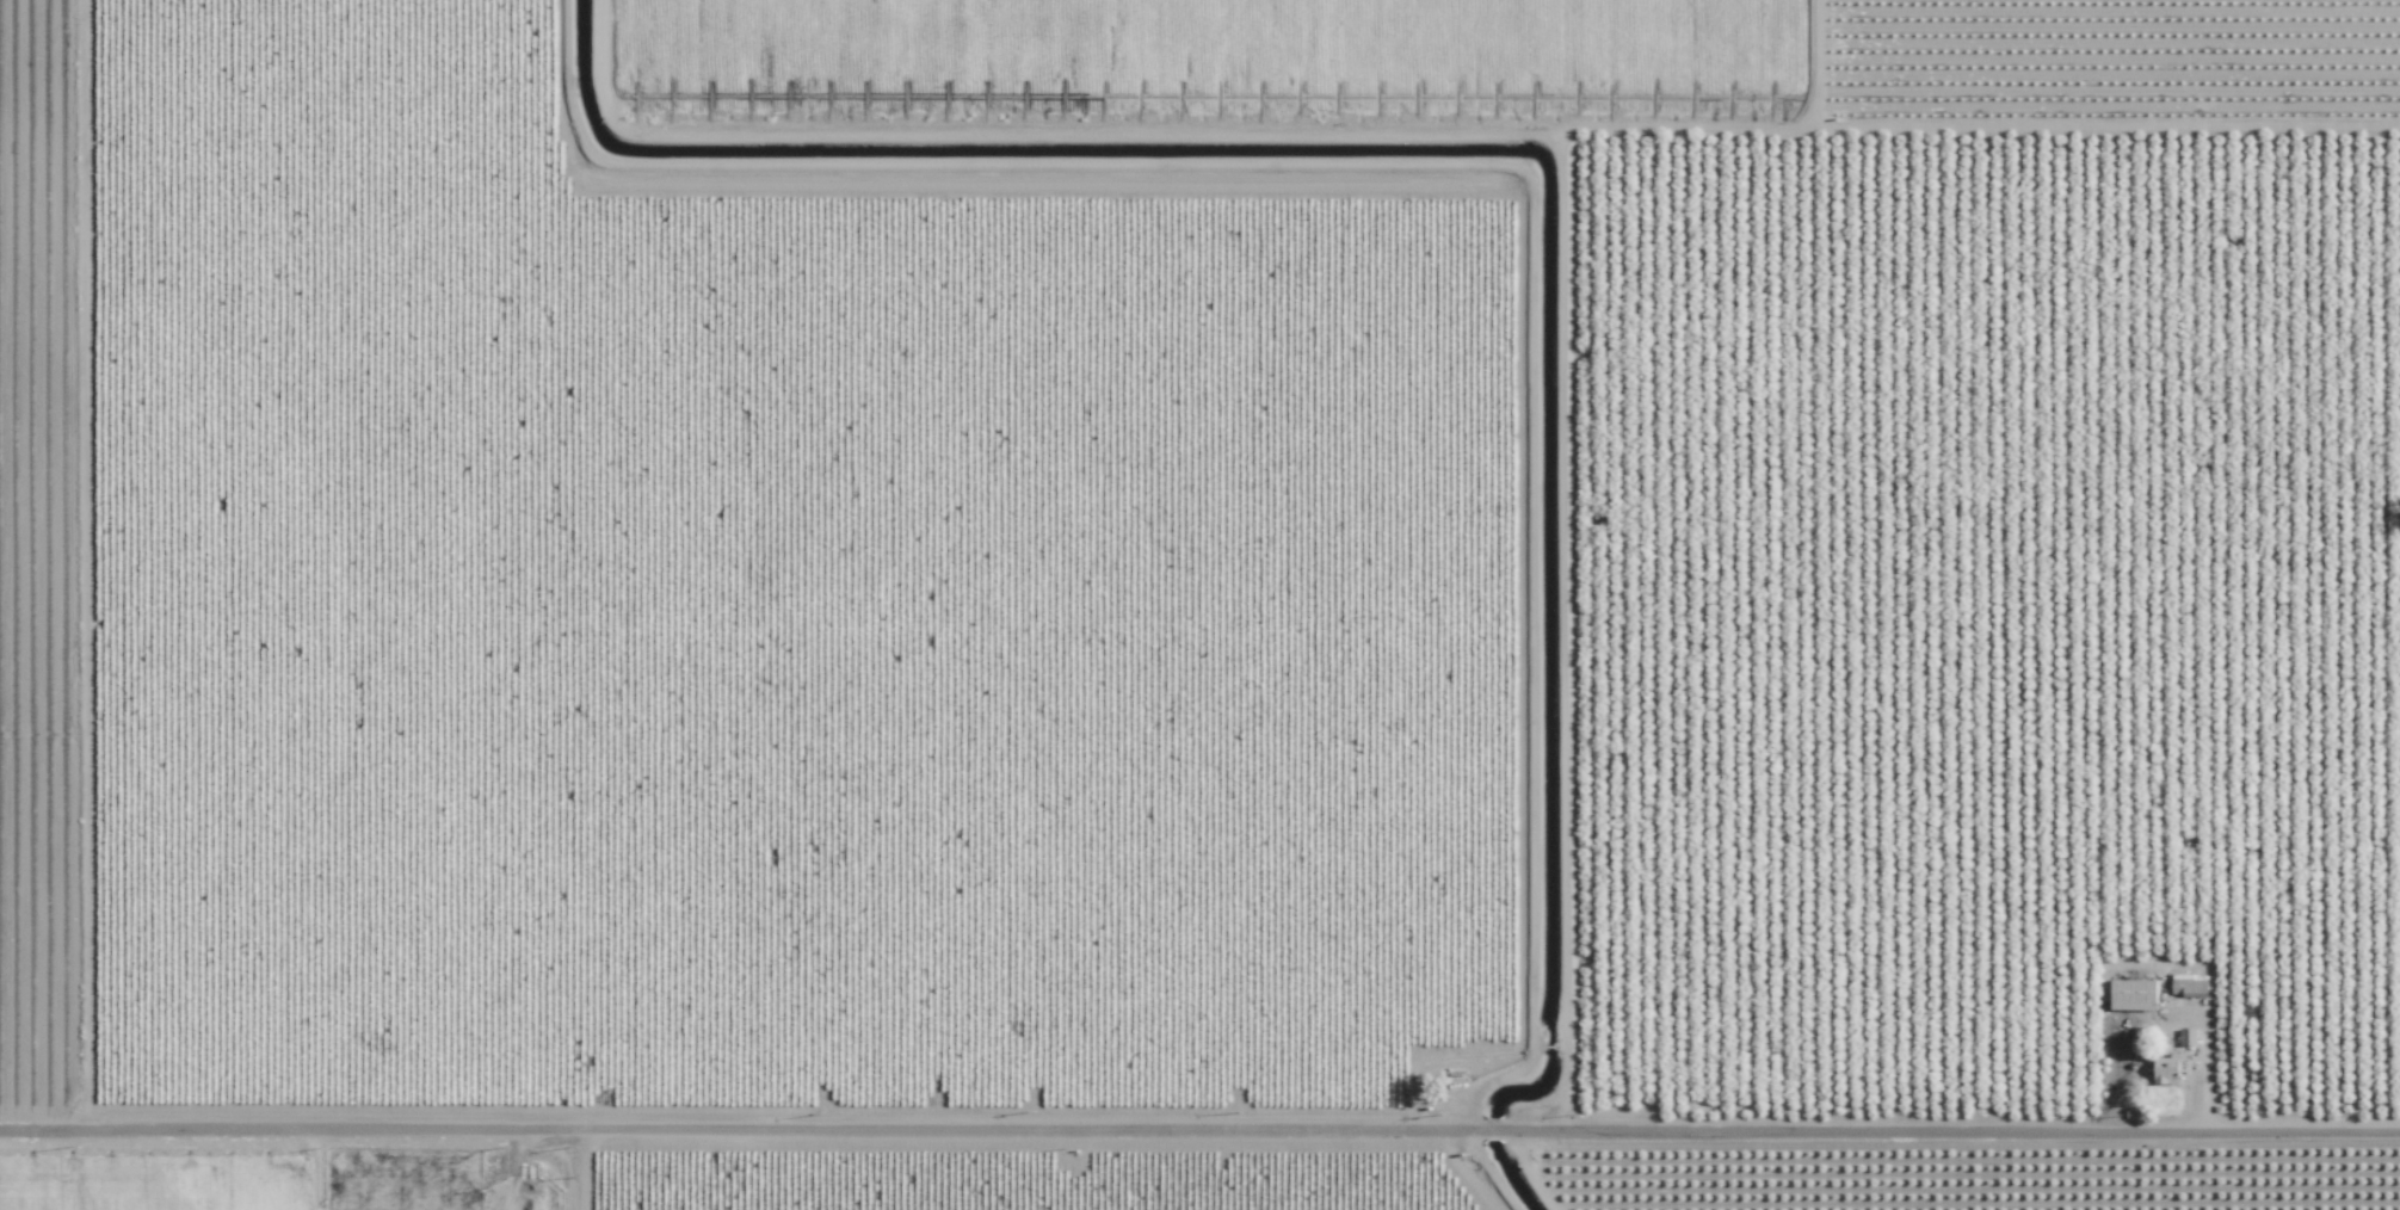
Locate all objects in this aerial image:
crop: (945, 50)
crop: (1572, 51)
crop: (1983, 603)
building: (2194, 986)
building: (2165, 1068)
road: (1199, 1117)
road: (584, 1163)
crop: (165, 1173)

